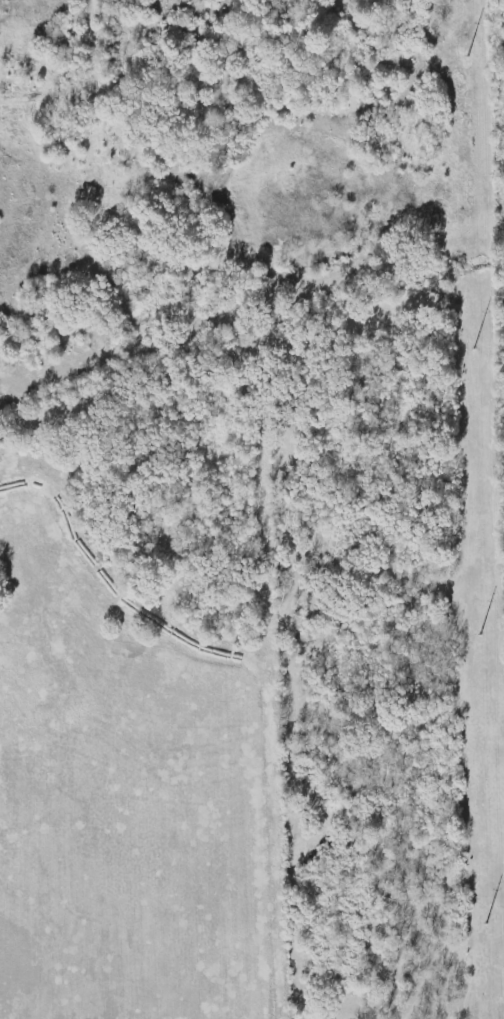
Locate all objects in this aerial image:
power tower: (465, 50)
power tower: (472, 344)
power tower: (478, 631)
power tower: (484, 919)

